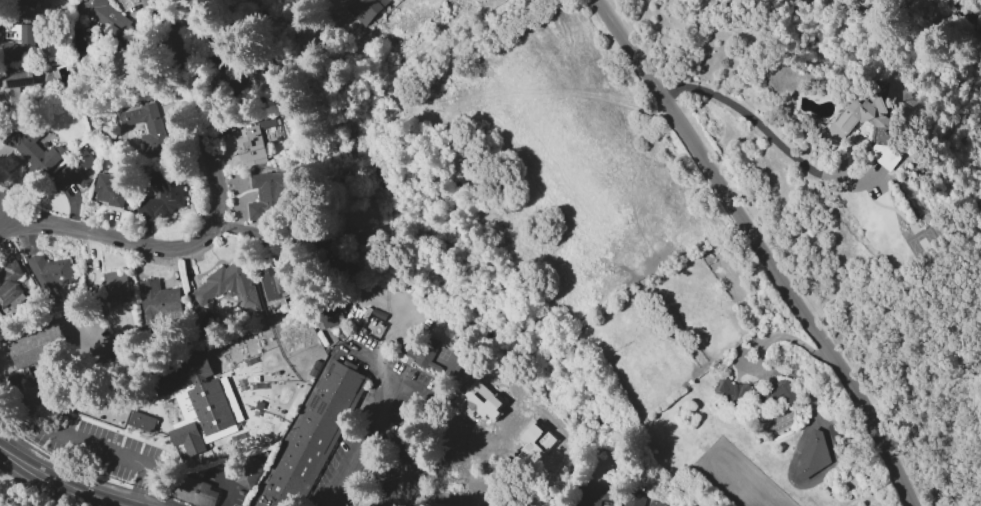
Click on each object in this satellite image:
building: (26, 1)
building: (364, 9)
building: (104, 17)
road: (956, 25)
building: (19, 43)
building: (126, 71)
building: (13, 86)
road: (193, 107)
building: (839, 126)
building: (145, 127)
road: (766, 132)
building: (33, 151)
building: (73, 171)
building: (109, 189)
building: (161, 195)
building: (266, 195)
road: (110, 235)
road: (762, 248)
building: (50, 277)
building: (275, 279)
building: (10, 285)
building: (116, 285)
building: (228, 286)
building: (156, 302)
building: (331, 314)
building: (424, 355)
road: (370, 362)
building: (22, 369)
road: (397, 377)
building: (752, 392)
building: (197, 405)
building: (141, 421)
building: (312, 434)
road: (91, 443)
building: (812, 455)
building: (249, 472)
road: (60, 481)
building: (194, 491)
building: (632, 499)

